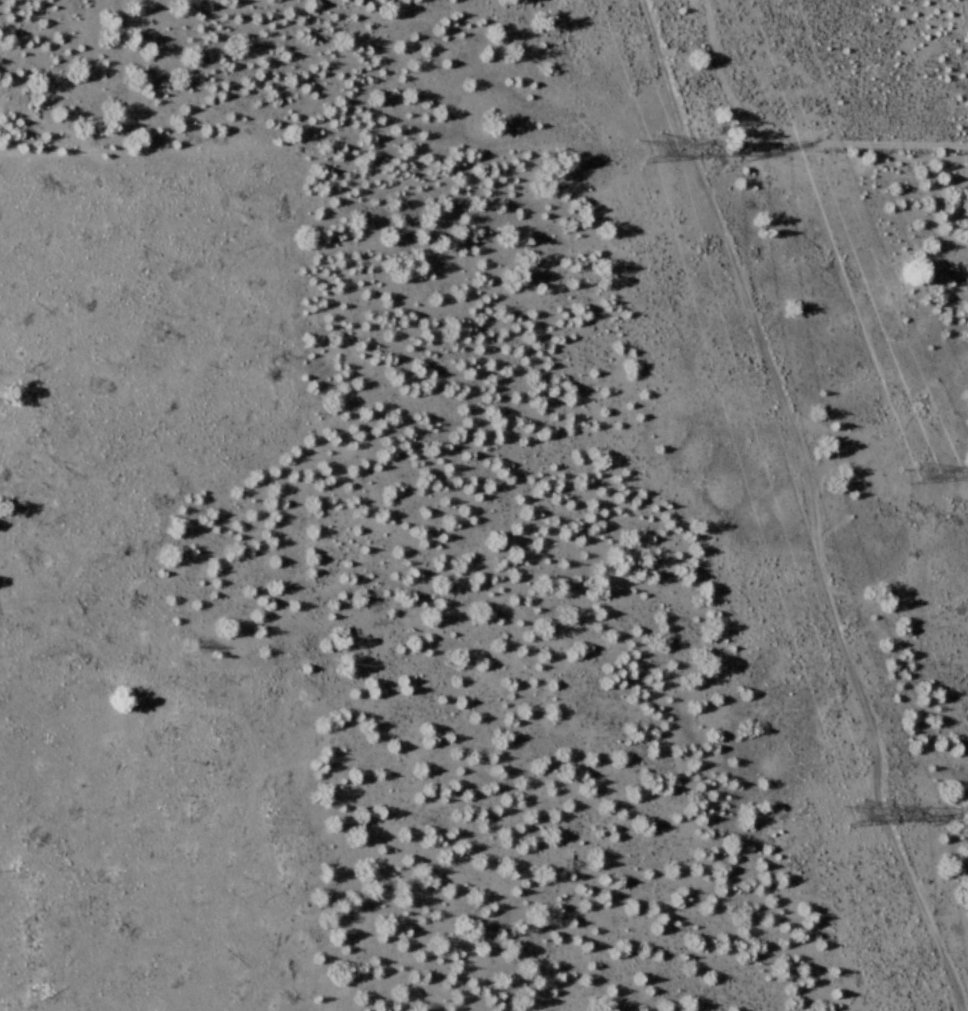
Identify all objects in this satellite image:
power tower: (671, 149)
power tower: (938, 477)
road: (807, 506)
power tower: (870, 814)

